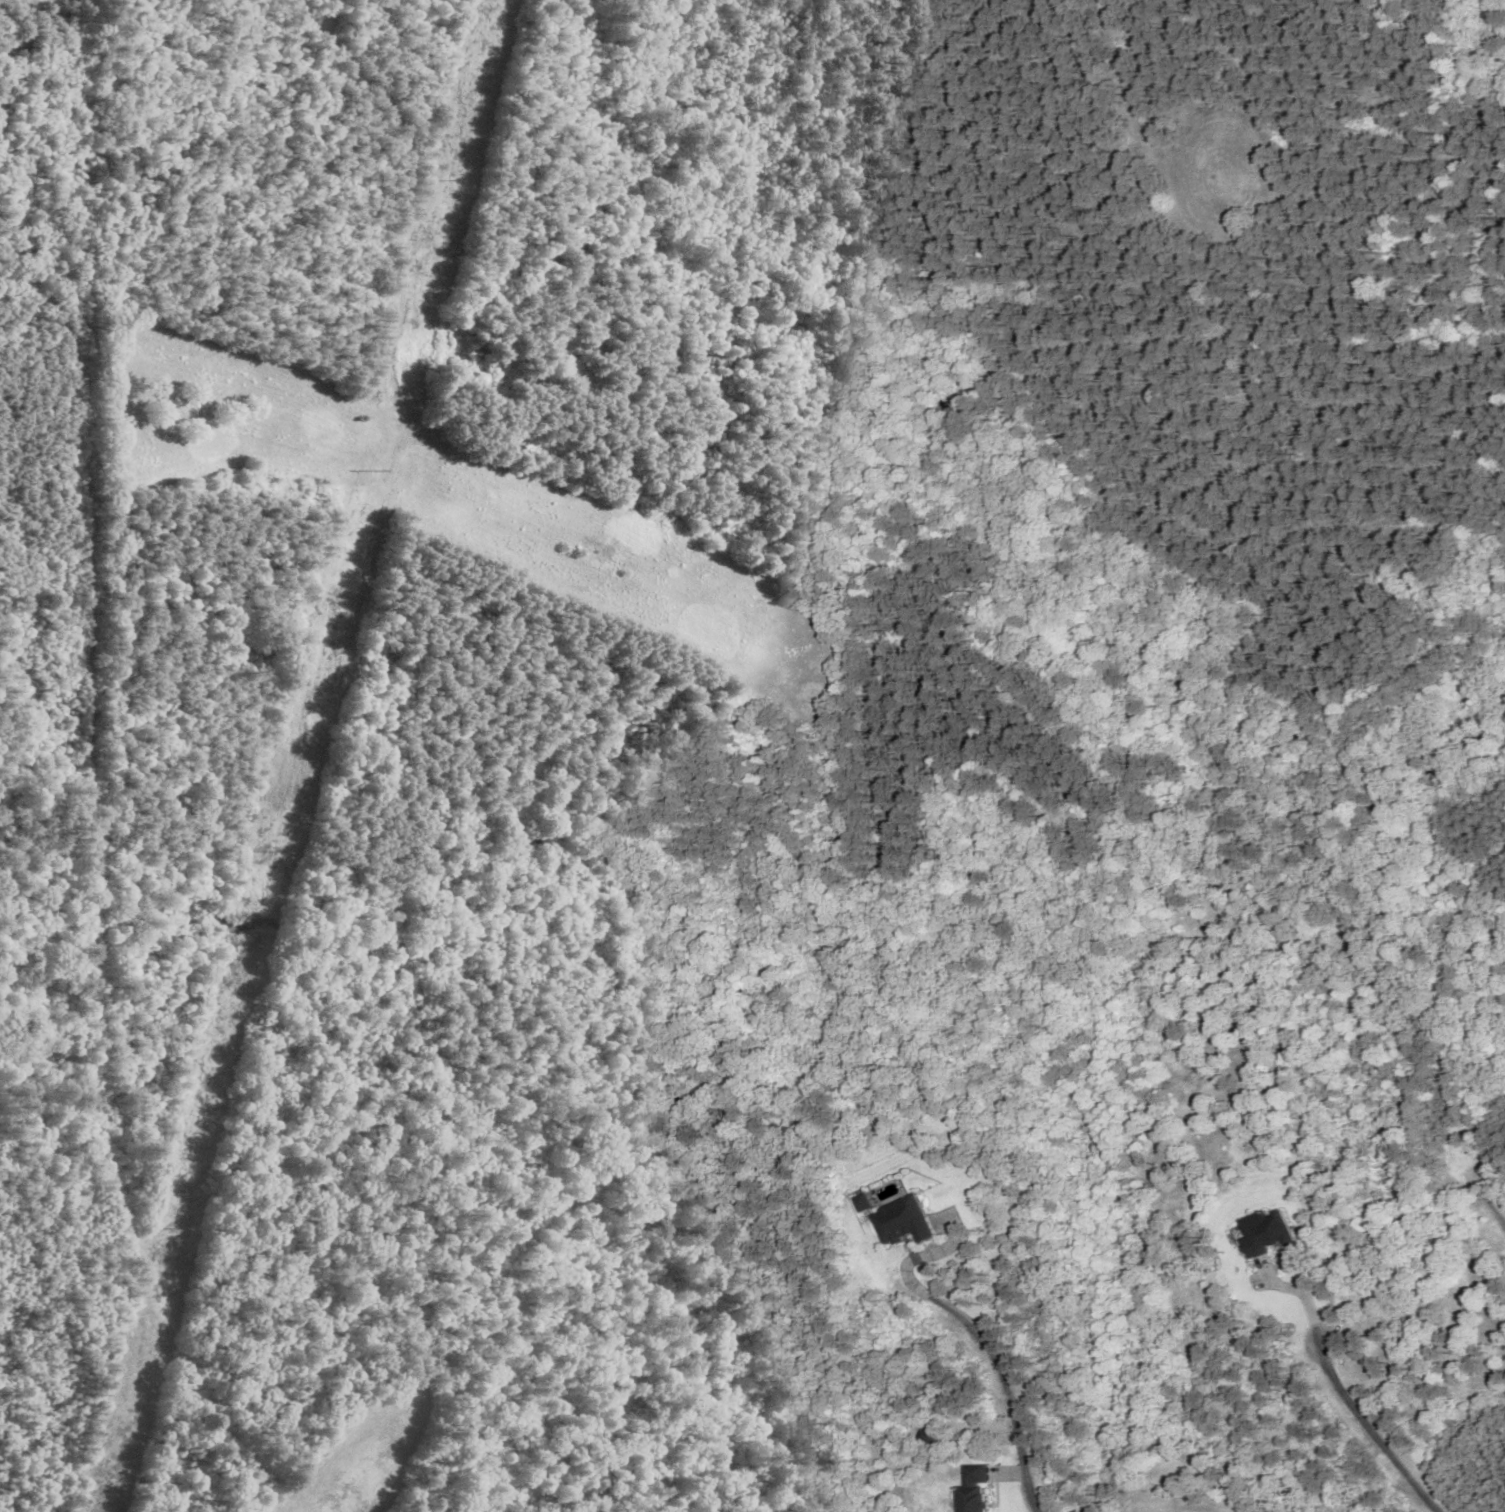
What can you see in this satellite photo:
road: (82, 8)
road: (112, 219)
road: (1483, 1153)
road: (1478, 1194)
building: (1263, 1234)
road: (1338, 1387)
road: (1007, 1395)

